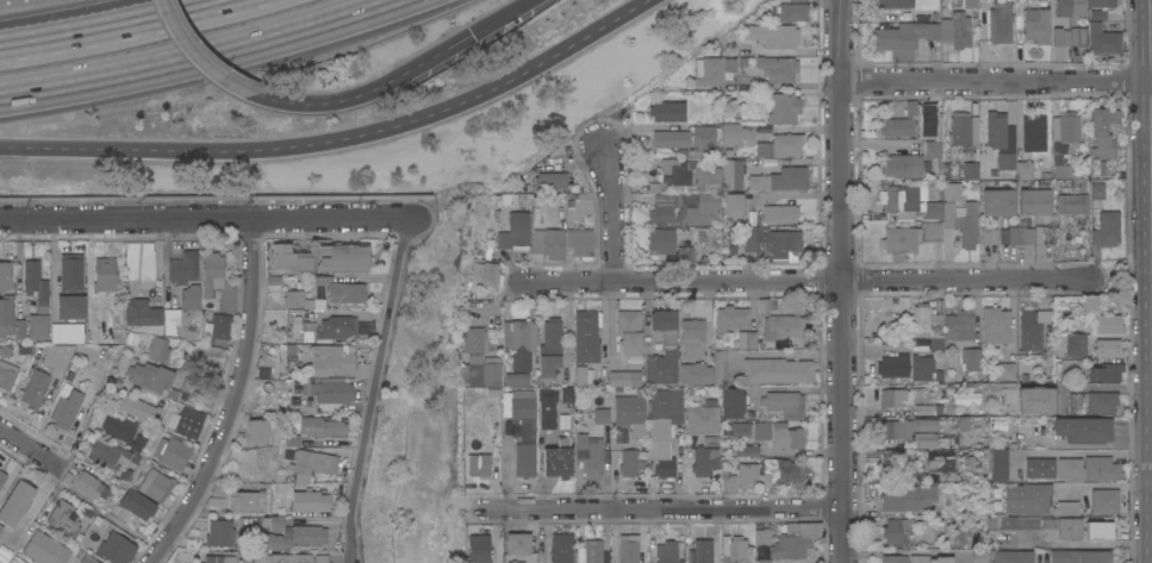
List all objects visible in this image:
building: (893, 2)
building: (1100, 2)
building: (970, 4)
building: (1069, 7)
road: (1151, 8)
road: (207, 10)
road: (229, 10)
building: (789, 10)
building: (1096, 14)
road: (499, 18)
building: (1001, 21)
building: (1036, 25)
building: (957, 30)
building: (773, 33)
building: (904, 35)
building: (1060, 36)
building: (1078, 36)
road: (574, 39)
building: (1103, 39)
road: (99, 42)
road: (197, 57)
road: (197, 58)
building: (778, 68)
building: (708, 70)
road: (997, 81)
road: (785, 85)
road: (368, 90)
building: (783, 108)
building: (667, 111)
building: (1113, 115)
building: (901, 123)
building: (930, 126)
building: (1066, 129)
building: (1034, 132)
building: (735, 133)
building: (965, 133)
building: (1100, 133)
building: (703, 137)
building: (671, 138)
building: (1001, 139)
building: (782, 144)
road: (259, 149)
building: (932, 149)
building: (560, 151)
building: (902, 164)
building: (1098, 167)
building: (971, 169)
building: (1025, 169)
building: (1061, 170)
building: (671, 174)
building: (733, 174)
building: (709, 179)
building: (783, 179)
building: (550, 180)
building: (1097, 189)
building: (953, 190)
building: (909, 201)
building: (996, 201)
building: (1035, 201)
building: (1072, 202)
building: (733, 205)
building: (665, 208)
building: (702, 208)
road: (615, 213)
building: (780, 213)
road: (201, 218)
building: (967, 221)
building: (1106, 229)
building: (516, 231)
building: (1025, 233)
building: (989, 234)
building: (909, 237)
building: (664, 239)
building: (580, 240)
building: (548, 242)
building: (774, 242)
building: (693, 245)
building: (487, 251)
building: (320, 257)
building: (183, 267)
building: (71, 271)
building: (487, 271)
building: (105, 274)
building: (5, 275)
road: (808, 281)
road: (843, 281)
building: (36, 284)
building: (217, 284)
building: (341, 288)
building: (189, 296)
building: (300, 300)
building: (1086, 302)
building: (70, 306)
building: (141, 312)
building: (6, 314)
building: (1041, 315)
building: (730, 317)
building: (170, 320)
building: (776, 321)
building: (1107, 324)
building: (959, 325)
building: (996, 325)
building: (37, 326)
building: (335, 326)
building: (928, 326)
building: (19, 327)
building: (219, 329)
building: (629, 331)
building: (1029, 331)
building: (67, 332)
building: (519, 336)
building: (586, 336)
building: (137, 338)
building: (691, 338)
building: (746, 339)
building: (1072, 345)
building: (1108, 348)
building: (158, 349)
building: (664, 349)
building: (6, 350)
building: (23, 350)
building: (57, 355)
road: (789, 355)
building: (208, 356)
building: (556, 358)
building: (329, 359)
building: (480, 361)
building: (972, 364)
building: (721, 365)
building: (893, 365)
building: (922, 367)
building: (778, 370)
building: (1008, 370)
building: (1104, 371)
building: (696, 373)
building: (515, 375)
building: (580, 375)
building: (949, 375)
building: (7, 376)
building: (151, 377)
building: (624, 377)
road: (1106, 388)
building: (35, 389)
building: (211, 389)
building: (326, 389)
road: (367, 389)
building: (898, 396)
building: (969, 399)
building: (1034, 399)
road: (235, 400)
building: (1101, 401)
building: (731, 402)
building: (1076, 402)
building: (784, 404)
building: (138, 407)
building: (66, 408)
building: (547, 408)
building: (929, 408)
building: (599, 411)
building: (631, 412)
road: (88, 417)
building: (704, 421)
building: (188, 424)
building: (316, 427)
building: (522, 427)
building: (664, 427)
building: (741, 428)
building: (1082, 428)
building: (123, 431)
building: (256, 431)
building: (915, 431)
building: (619, 434)
building: (779, 434)
road: (32, 448)
building: (106, 451)
building: (746, 451)
building: (175, 453)
road: (1075, 453)
building: (591, 455)
building: (895, 456)
building: (705, 459)
building: (938, 459)
building: (558, 462)
building: (631, 463)
building: (997, 463)
building: (309, 464)
building: (479, 464)
building: (1039, 468)
building: (1070, 468)
building: (1101, 468)
building: (784, 470)
road: (687, 474)
building: (752, 475)
building: (1, 476)
building: (728, 481)
building: (83, 482)
building: (156, 484)
building: (908, 496)
building: (1027, 498)
building: (278, 500)
building: (1104, 500)
building: (245, 501)
building: (306, 501)
building: (14, 502)
building: (137, 503)
building: (1066, 508)
road: (665, 509)
building: (63, 515)
building: (872, 517)
building: (1014, 523)
building: (932, 527)
building: (1061, 527)
building: (1097, 528)
building: (897, 530)
building: (219, 532)
building: (288, 532)
building: (2, 533)
building: (761, 536)
building: (795, 539)
building: (517, 543)
road: (1083, 544)
building: (116, 548)
building: (561, 548)
building: (42, 549)
building: (478, 549)
building: (629, 549)
building: (735, 549)
road: (903, 549)
building: (703, 550)
building: (596, 551)
building: (666, 551)
building: (980, 555)
building: (1013, 556)
building: (1079, 556)
building: (217, 558)
building: (286, 558)
building: (318, 558)
building: (895, 558)
building: (930, 558)
road: (1041, 559)
building: (88, 561)
building: (513, 562)

